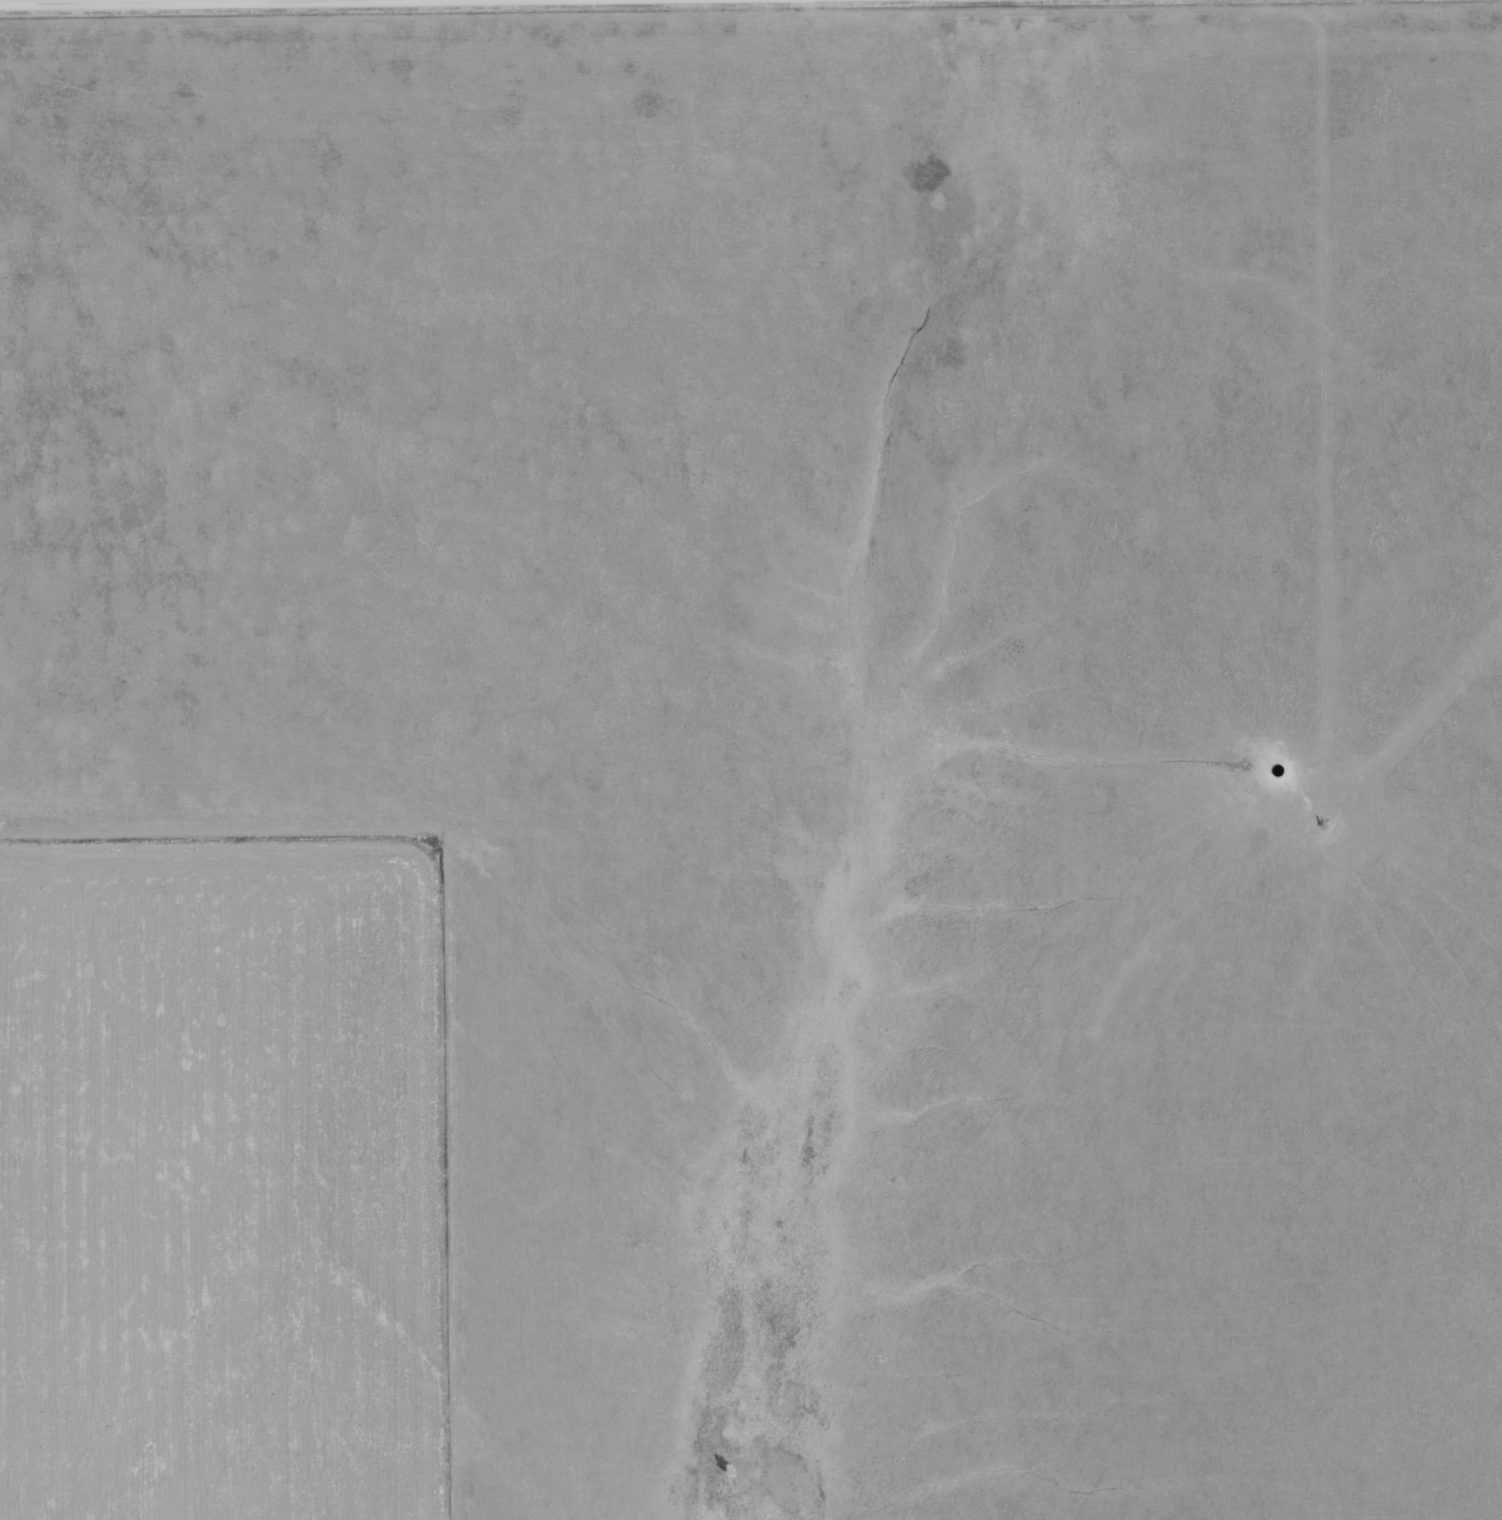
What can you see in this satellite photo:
road: (420, 4)

